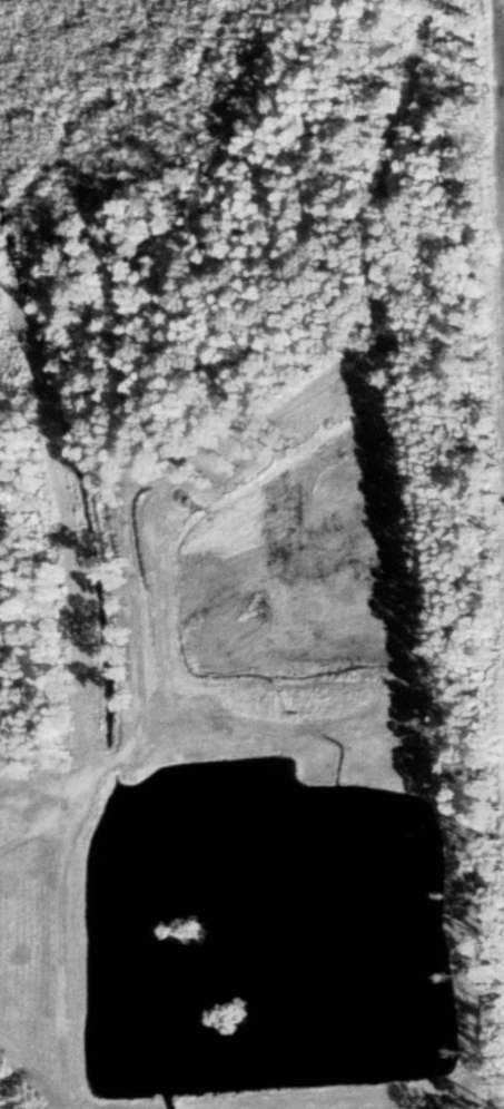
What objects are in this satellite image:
crop: (500, 183)
road: (138, 495)
road: (33, 837)

